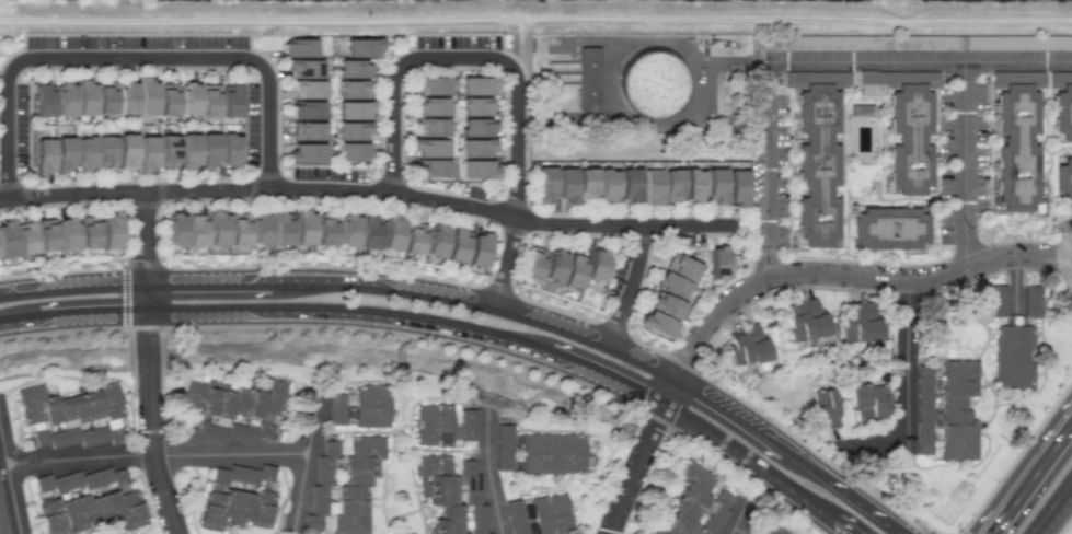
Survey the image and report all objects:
road: (535, 19)
parking lot: (137, 40)
parking lot: (460, 40)
parking lot: (61, 42)
parking lot: (214, 42)
building: (789, 42)
building: (915, 43)
building: (1033, 43)
building: (298, 47)
building: (362, 47)
road: (132, 57)
road: (465, 57)
road: (740, 60)
road: (918, 60)
building: (304, 68)
building: (353, 69)
building: (570, 73)
building: (569, 82)
building: (872, 82)
building: (431, 85)
building: (476, 85)
building: (597, 88)
building: (353, 89)
building: (307, 90)
building: (570, 92)
building: (662, 94)
building: (147, 95)
building: (84, 97)
building: (105, 97)
building: (126, 97)
building: (64, 98)
building: (166, 98)
building: (43, 100)
building: (188, 100)
building: (209, 100)
building: (229, 101)
building: (430, 106)
building: (476, 106)
building: (307, 109)
building: (354, 109)
building: (1065, 113)
parking lot: (253, 123)
parking lot: (22, 126)
building: (430, 127)
building: (476, 127)
building: (307, 130)
building: (350, 131)
building: (915, 140)
building: (209, 149)
building: (1025, 149)
building: (105, 150)
building: (125, 150)
building: (188, 150)
building: (230, 150)
building: (168, 151)
building: (353, 151)
building: (84, 152)
building: (306, 152)
building: (64, 153)
building: (147, 153)
building: (43, 155)
building: (430, 156)
building: (476, 158)
road: (965, 163)
building: (820, 166)
road: (764, 171)
parking lot: (328, 173)
building: (1065, 178)
building: (544, 184)
building: (586, 184)
building: (630, 184)
building: (693, 185)
building: (716, 185)
building: (565, 186)
building: (607, 186)
building: (650, 186)
building: (672, 186)
building: (737, 188)
road: (366, 191)
road: (141, 206)
building: (217, 228)
building: (303, 228)
building: (174, 229)
building: (239, 229)
building: (260, 229)
building: (280, 229)
building: (109, 230)
building: (195, 230)
building: (347, 230)
building: (325, 231)
building: (896, 231)
building: (67, 232)
building: (89, 232)
building: (368, 232)
building: (391, 232)
building: (47, 234)
road: (127, 234)
building: (25, 236)
road: (142, 237)
building: (7, 239)
building: (413, 239)
building: (436, 240)
road: (141, 256)
road: (1063, 258)
street lamp: (200, 263)
road: (504, 263)
building: (532, 264)
building: (717, 264)
street lamp: (379, 266)
building: (596, 267)
building: (681, 267)
building: (552, 270)
street lamp: (10, 272)
building: (572, 272)
parking lot: (618, 274)
street lamp: (466, 280)
road: (763, 281)
road: (477, 282)
road: (1015, 283)
road: (205, 286)
road: (629, 287)
building: (671, 287)
road: (71, 290)
road: (124, 293)
building: (1033, 300)
building: (998, 301)
road: (475, 306)
street lamp: (567, 309)
building: (666, 309)
building: (806, 320)
building: (861, 323)
road: (451, 325)
building: (656, 326)
building: (748, 346)
road: (907, 357)
building: (1014, 357)
road: (724, 388)
building: (372, 402)
building: (868, 402)
building: (335, 408)
building: (825, 408)
building: (923, 409)
building: (229, 410)
building: (958, 410)
road: (150, 411)
building: (69, 413)
road: (726, 416)
building: (435, 421)
building: (504, 446)
building: (551, 450)
road: (155, 454)
road: (304, 458)
road: (1013, 458)
road: (1024, 469)
road: (487, 471)
road: (9, 483)
building: (343, 486)
road: (841, 491)
building: (450, 495)
building: (238, 499)
building: (87, 500)
building: (685, 500)
road: (1053, 509)
building: (550, 511)
building: (1, 515)
road: (738, 515)
road: (1065, 525)
building: (770, 529)
road: (738, 530)
road: (958, 533)

